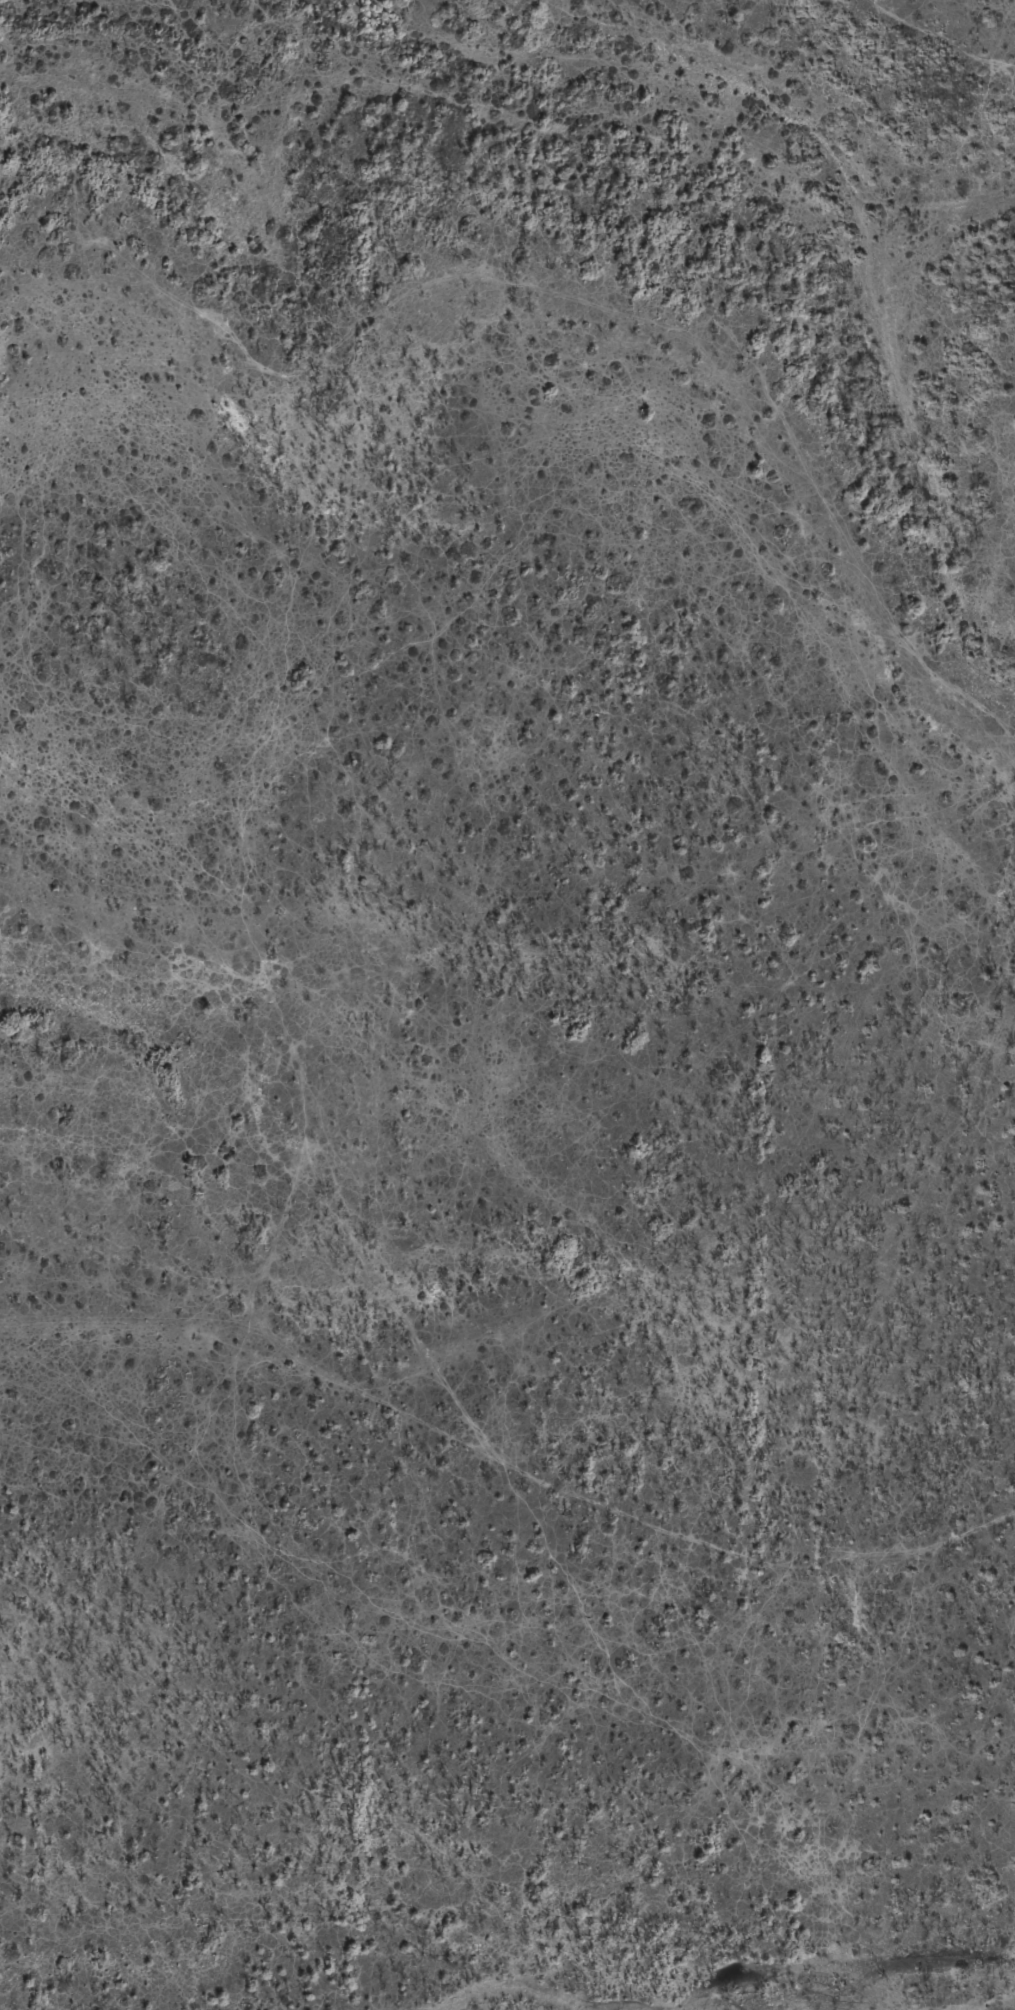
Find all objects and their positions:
road: (954, 21)

